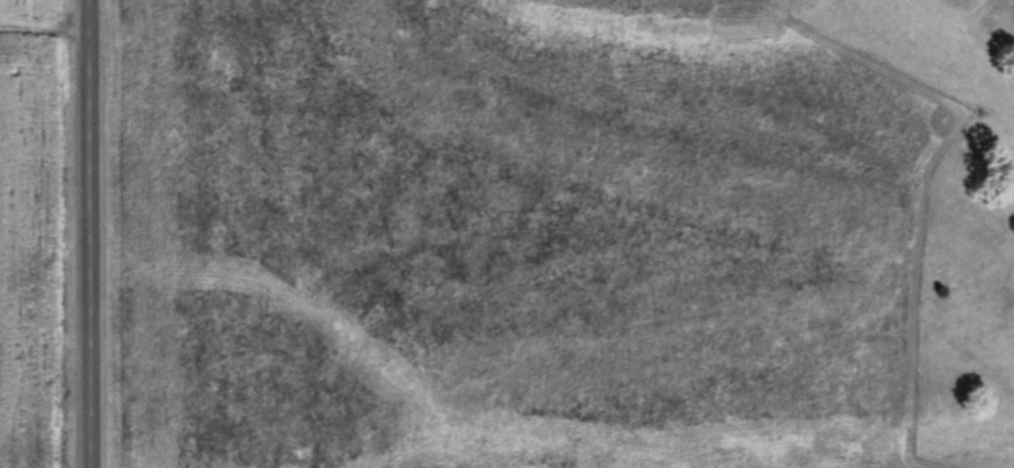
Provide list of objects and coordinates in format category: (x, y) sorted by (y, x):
road: (94, 234)

